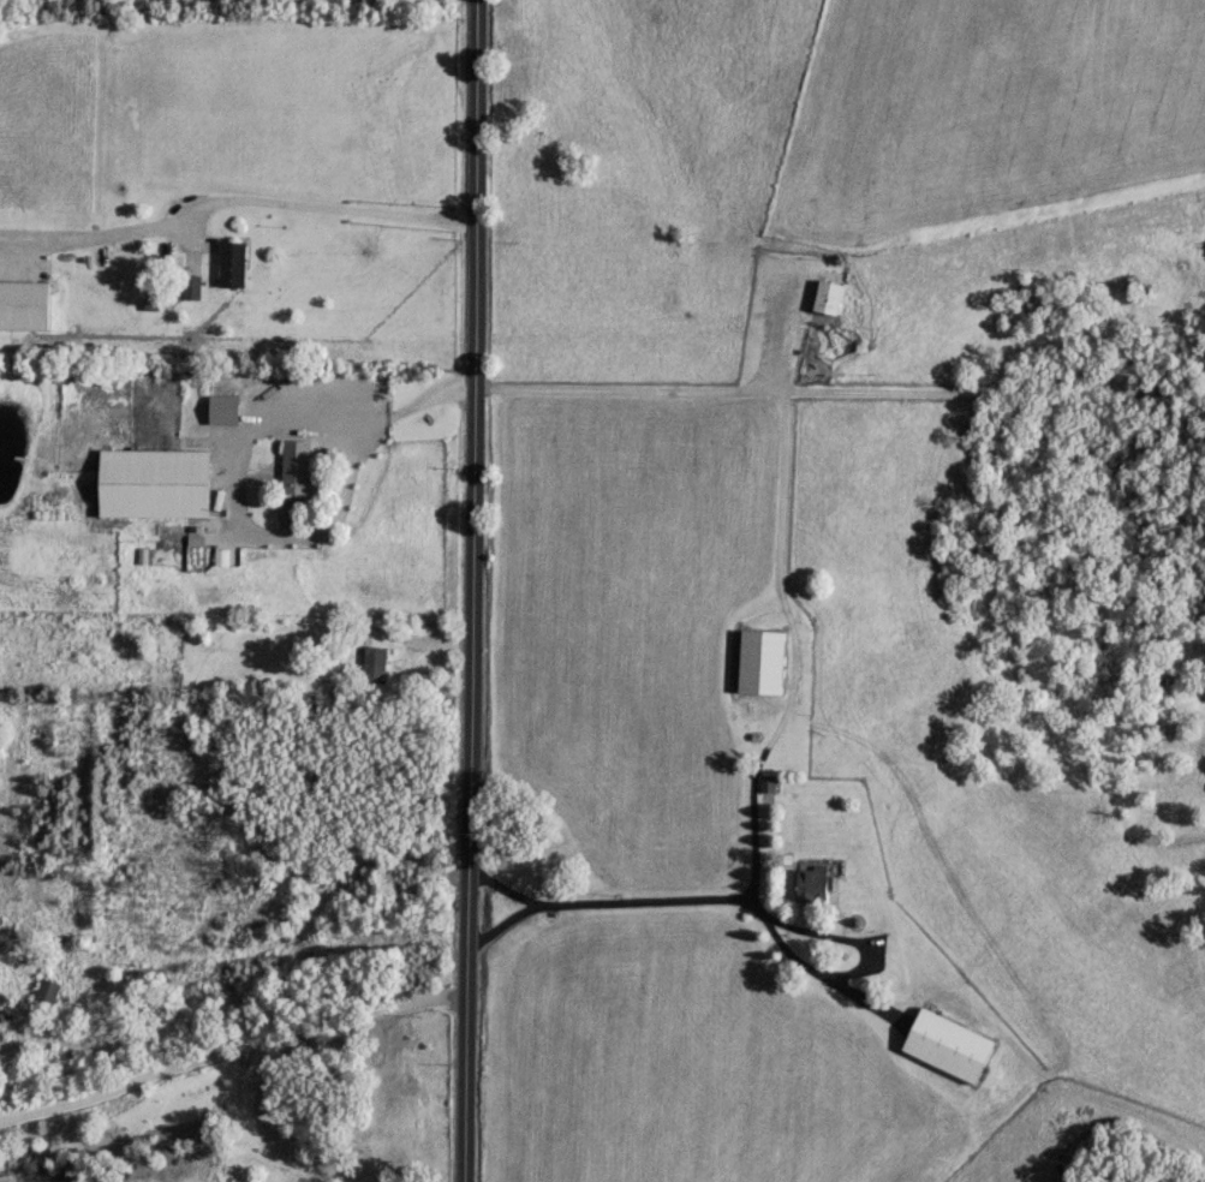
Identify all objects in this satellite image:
road: (311, 187)
building: (227, 261)
building: (824, 294)
road: (782, 322)
road: (835, 392)
road: (306, 399)
building: (220, 407)
building: (293, 464)
building: (150, 480)
road: (465, 590)
building: (757, 659)
building: (371, 662)
road: (744, 768)
road: (494, 870)
building: (807, 882)
road: (244, 963)
building: (43, 989)
building: (944, 1043)
road: (228, 1055)

